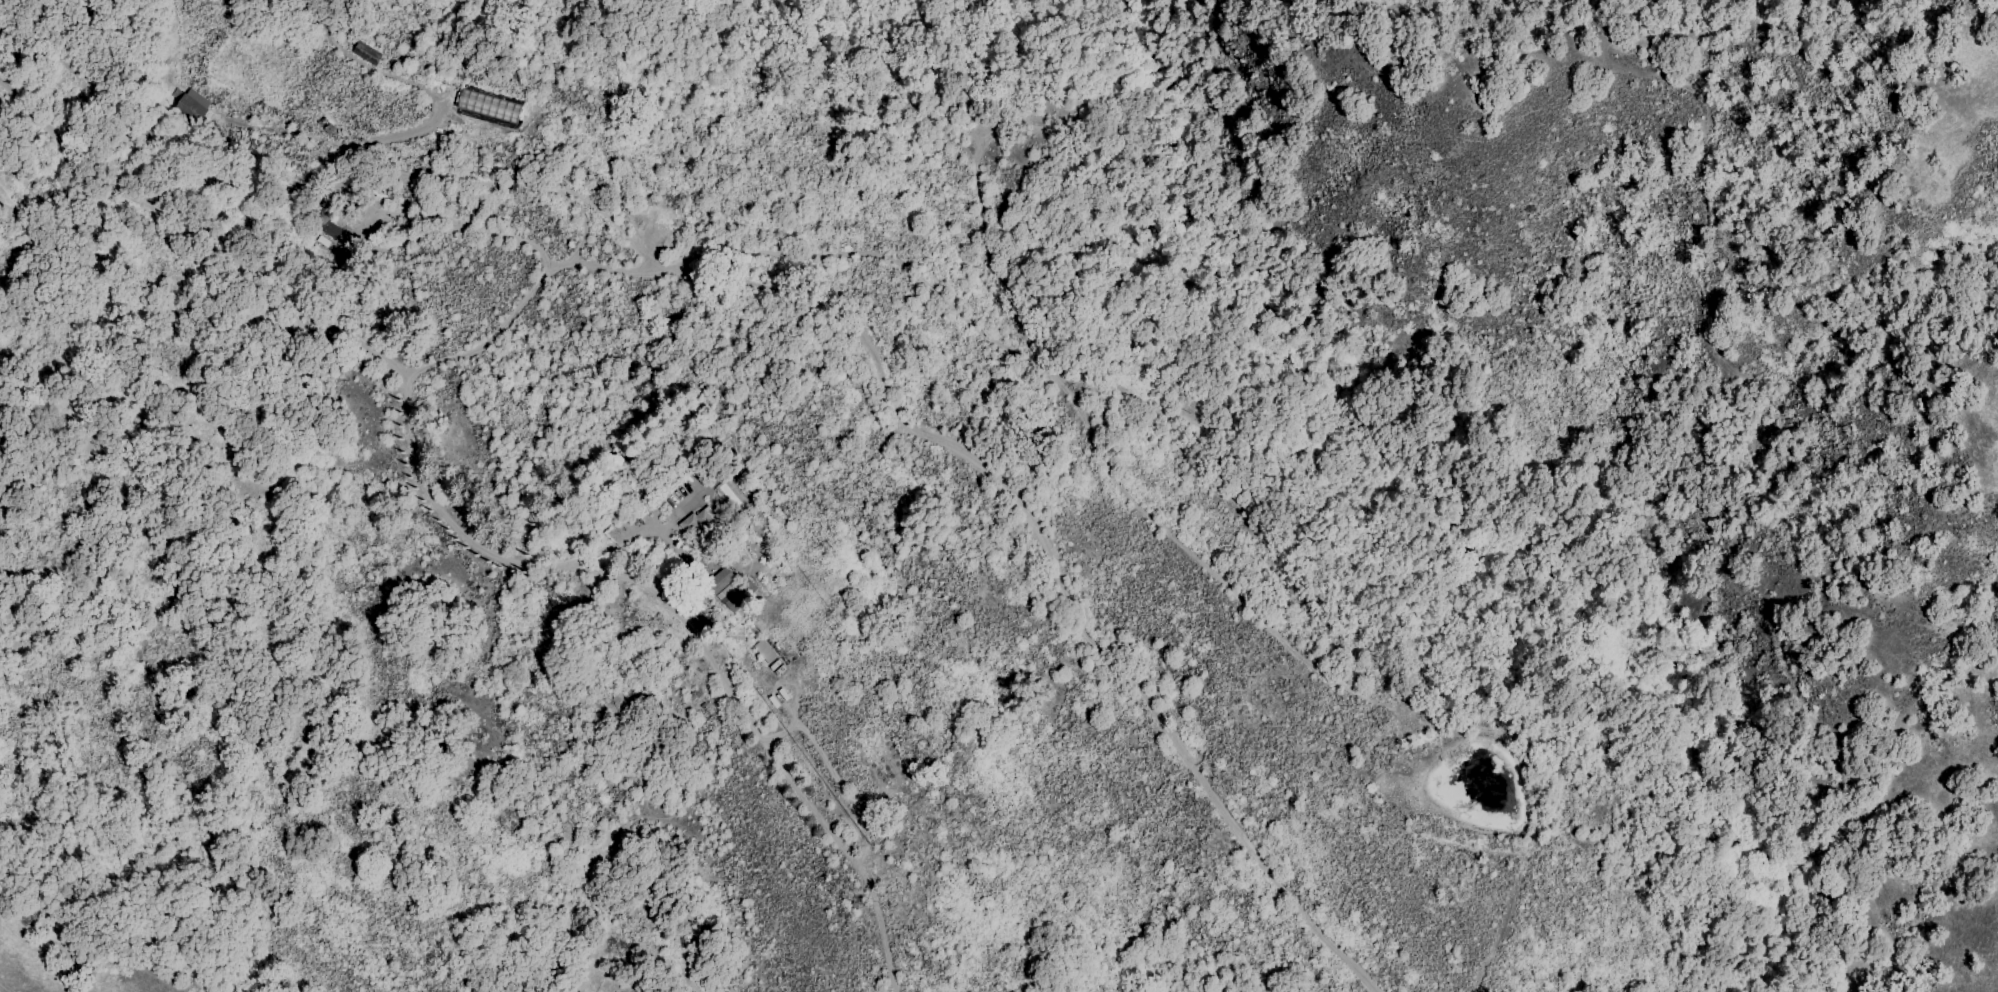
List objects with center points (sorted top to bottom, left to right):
building: (367, 53)
building: (187, 101)
building: (490, 106)
building: (332, 231)
building: (700, 524)
building: (726, 575)
building: (730, 599)
building: (766, 650)
building: (778, 667)

